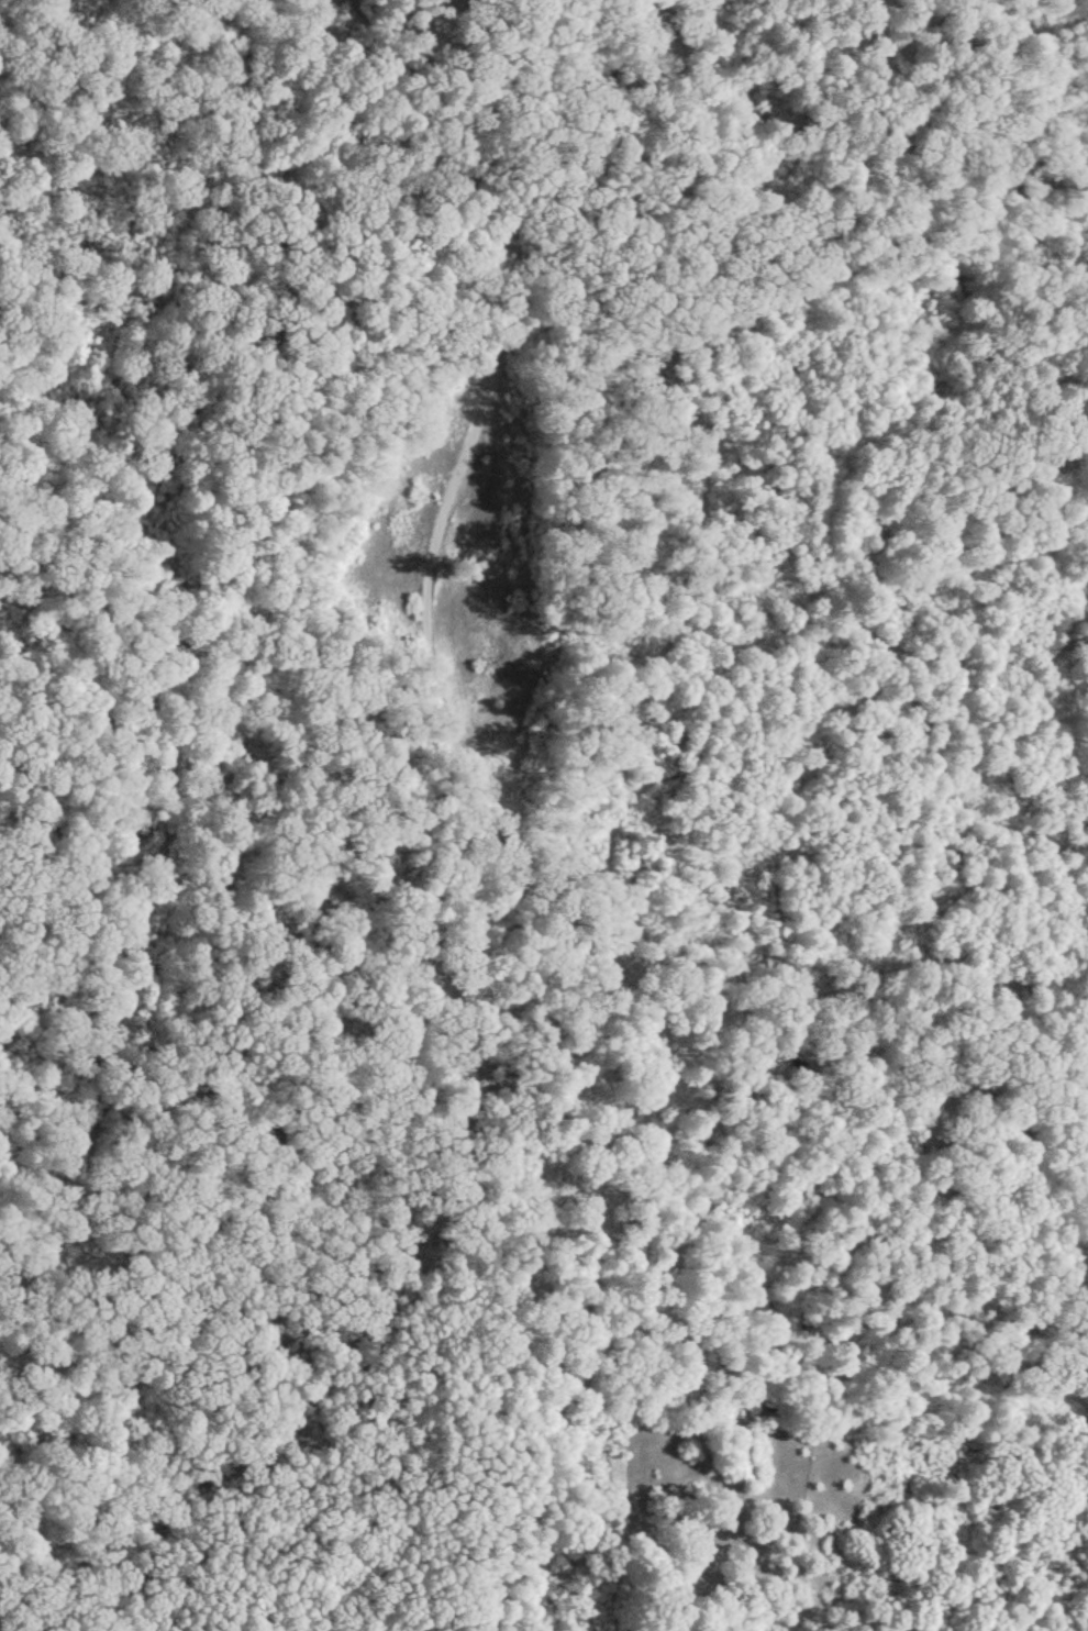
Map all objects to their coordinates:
road: (289, 1319)
building: (735, 1433)

